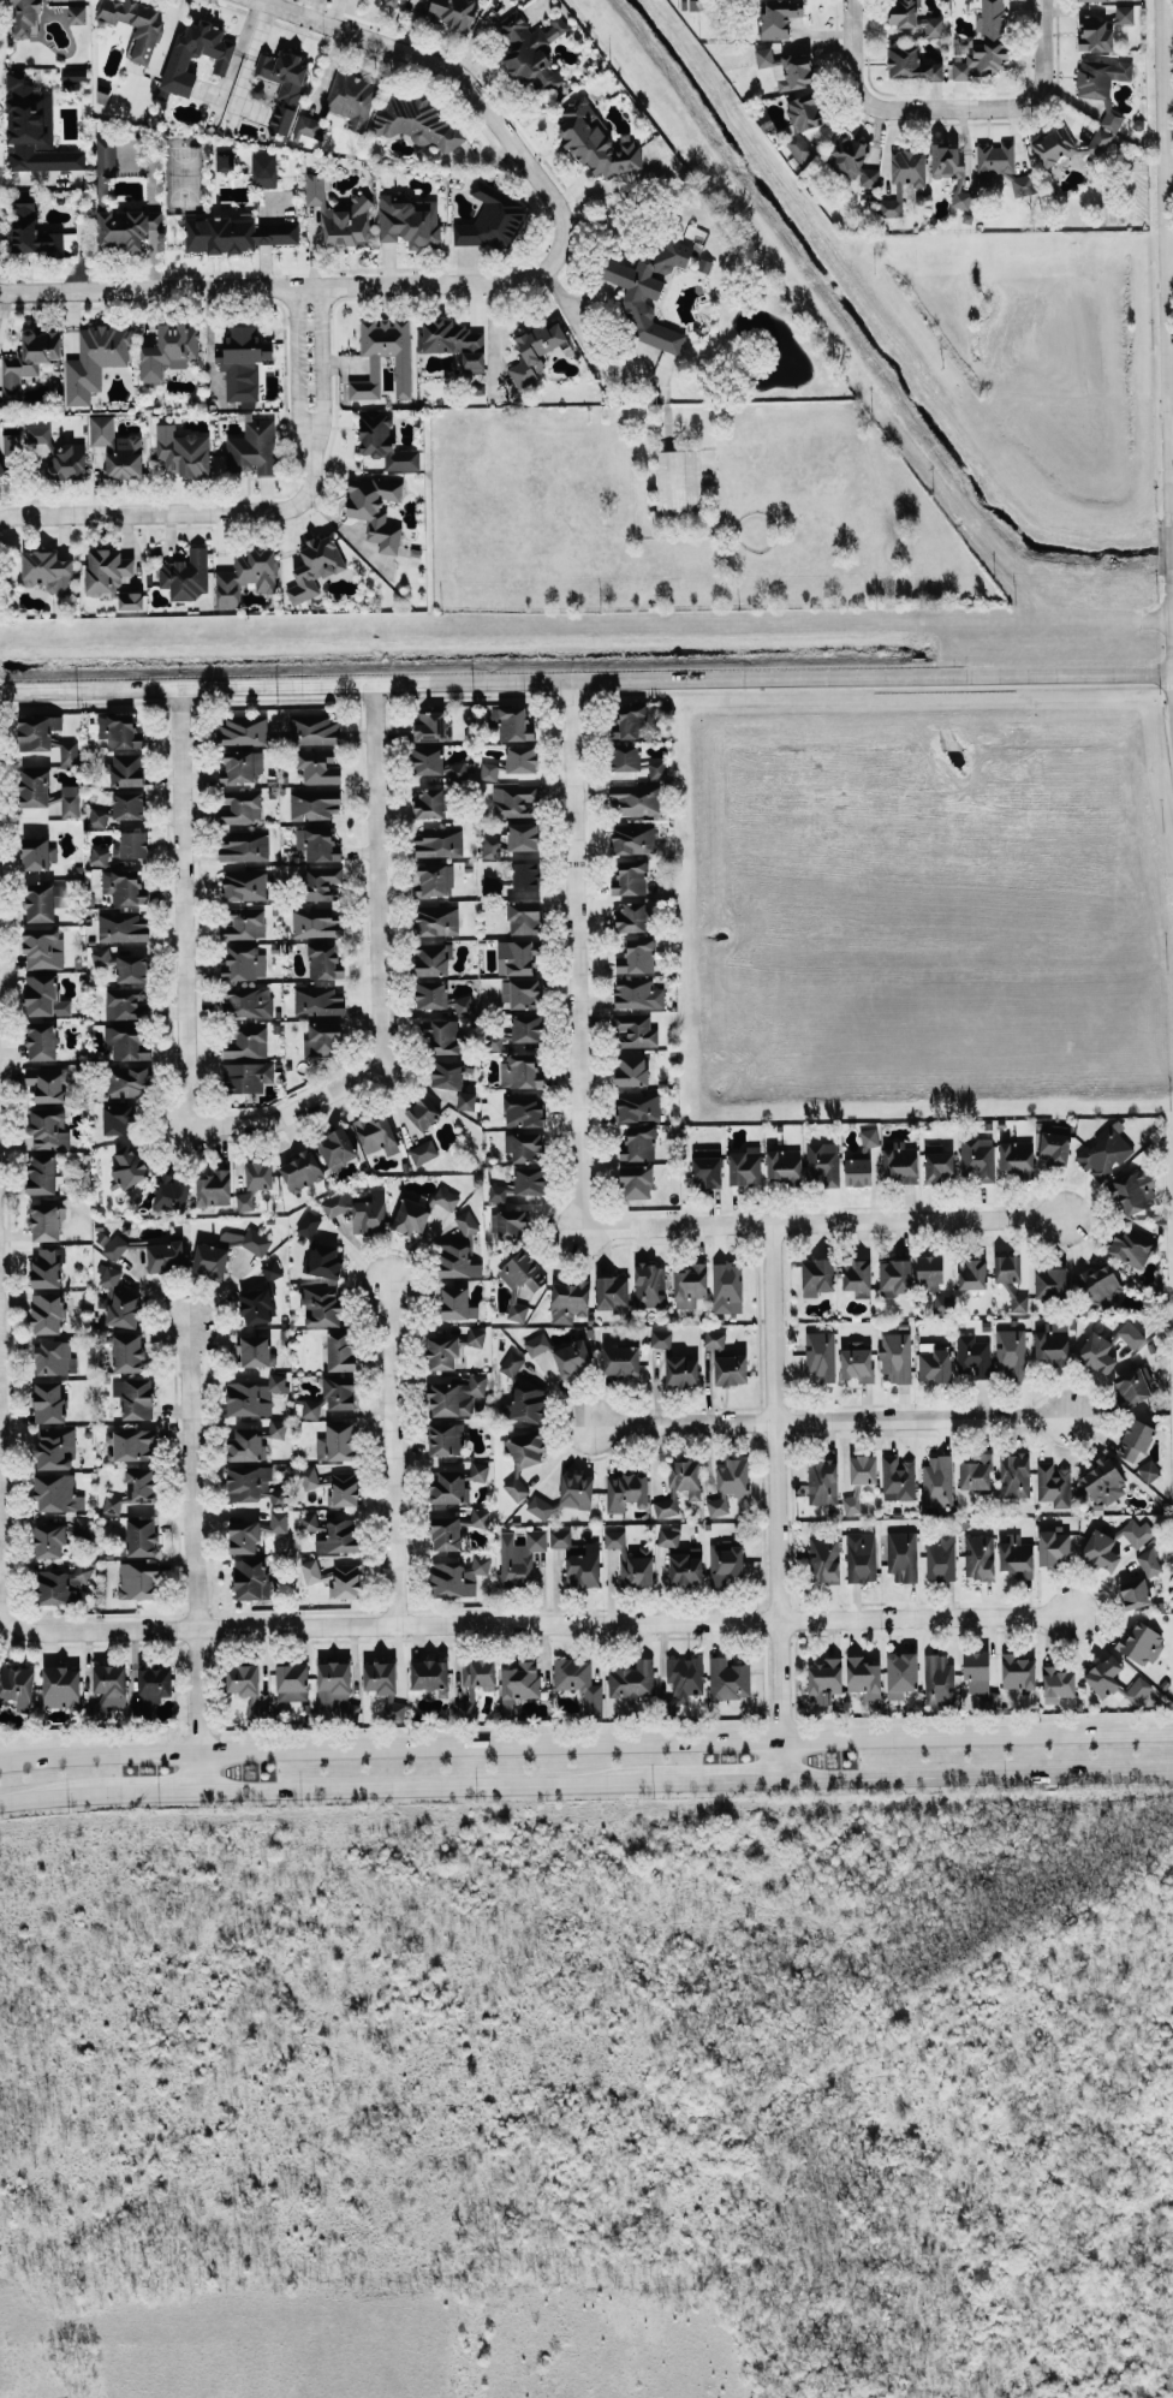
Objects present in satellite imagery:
building: (1092, 0)
building: (395, 1)
building: (419, 5)
building: (453, 12)
building: (1124, 13)
building: (76, 14)
building: (24, 17)
building: (779, 17)
building: (913, 17)
building: (133, 24)
building: (1094, 34)
building: (986, 44)
building: (530, 52)
building: (216, 56)
building: (910, 64)
road: (462, 69)
building: (786, 69)
building: (72, 78)
building: (1101, 83)
building: (284, 84)
road: (1037, 89)
road: (859, 95)
building: (351, 99)
building: (417, 121)
building: (803, 123)
building: (310, 126)
building: (35, 129)
building: (595, 142)
building: (1098, 142)
building: (1053, 145)
building: (105, 156)
building: (224, 160)
building: (851, 160)
building: (994, 160)
building: (951, 171)
building: (264, 177)
building: (901, 178)
road: (1171, 178)
building: (1023, 185)
building: (339, 213)
building: (490, 218)
building: (407, 221)
building: (126, 227)
building: (234, 233)
road: (1171, 246)
road: (1168, 254)
road: (285, 282)
building: (649, 292)
building: (453, 341)
building: (535, 350)
building: (168, 351)
building: (28, 359)
building: (94, 361)
road: (296, 361)
road: (323, 361)
building: (243, 363)
building: (401, 367)
building: (385, 442)
road: (1172, 446)
building: (117, 447)
building: (252, 448)
building: (180, 452)
building: (58, 456)
building: (1, 470)
building: (677, 481)
road: (181, 506)
building: (375, 510)
road: (1172, 540)
building: (314, 567)
building: (106, 570)
building: (47, 571)
building: (185, 573)
building: (245, 576)
building: (130, 600)
road: (1172, 621)
road: (585, 674)
building: (511, 721)
building: (633, 721)
building: (433, 726)
building: (118, 730)
building: (243, 730)
building: (314, 730)
building: (37, 731)
building: (69, 752)
building: (522, 760)
building: (635, 761)
building: (436, 764)
building: (240, 766)
building: (318, 767)
building: (127, 768)
building: (488, 770)
building: (34, 787)
building: (636, 798)
building: (514, 799)
building: (70, 801)
building: (429, 802)
building: (129, 804)
building: (315, 804)
building: (240, 807)
building: (99, 816)
building: (523, 837)
building: (632, 838)
building: (316, 843)
building: (439, 843)
building: (131, 845)
building: (244, 846)
building: (492, 847)
building: (35, 853)
building: (99, 856)
building: (630, 877)
building: (434, 880)
building: (322, 881)
building: (244, 883)
building: (123, 886)
building: (38, 902)
road: (187, 902)
building: (632, 916)
building: (523, 917)
road: (585, 917)
building: (436, 918)
building: (244, 922)
building: (315, 922)
building: (121, 926)
building: (42, 946)
building: (517, 956)
building: (102, 957)
building: (636, 957)
building: (431, 958)
building: (323, 962)
building: (244, 963)
building: (132, 968)
road: (388, 972)
building: (520, 992)
building: (637, 993)
building: (431, 994)
building: (43, 996)
building: (318, 1000)
building: (248, 1001)
building: (125, 1002)
building: (462, 1004)
building: (526, 1027)
building: (635, 1029)
building: (442, 1036)
building: (322, 1039)
building: (496, 1039)
building: (41, 1040)
building: (246, 1041)
building: (125, 1042)
building: (631, 1069)
building: (519, 1071)
building: (447, 1075)
building: (246, 1076)
building: (129, 1081)
building: (47, 1083)
building: (466, 1100)
building: (638, 1106)
building: (523, 1109)
building: (423, 1112)
building: (117, 1118)
building: (48, 1127)
building: (376, 1135)
building: (869, 1137)
building: (638, 1143)
building: (524, 1146)
building: (337, 1147)
building: (1054, 1148)
building: (1104, 1150)
building: (423, 1152)
building: (977, 1158)
building: (1016, 1158)
building: (822, 1161)
building: (899, 1161)
building: (782, 1165)
building: (939, 1165)
building: (707, 1166)
building: (745, 1166)
building: (127, 1168)
building: (300, 1170)
building: (857, 1171)
building: (42, 1173)
building: (258, 1174)
building: (530, 1179)
building: (636, 1182)
building: (214, 1188)
building: (1135, 1190)
building: (496, 1192)
building: (171, 1194)
building: (446, 1197)
building: (244, 1201)
building: (359, 1209)
building: (411, 1216)
building: (44, 1221)
building: (508, 1224)
road: (792, 1231)
building: (246, 1240)
building: (1131, 1245)
building: (318, 1250)
building: (460, 1250)
building: (165, 1256)
building: (209, 1260)
building: (47, 1267)
building: (1007, 1268)
building: (270, 1269)
building: (929, 1272)
building: (971, 1273)
building: (816, 1275)
building: (108, 1277)
building: (857, 1277)
building: (894, 1277)
building: (522, 1280)
building: (1050, 1283)
building: (649, 1285)
building: (690, 1285)
building: (1100, 1285)
building: (726, 1287)
building: (611, 1292)
building: (570, 1301)
building: (457, 1303)
building: (1018, 1303)
building: (255, 1305)
building: (321, 1305)
building: (943, 1307)
building: (124, 1309)
building: (47, 1313)
building: (1130, 1334)
building: (476, 1337)
building: (660, 1338)
building: (714, 1338)
building: (1053, 1343)
building: (536, 1344)
building: (256, 1350)
building: (340, 1350)
building: (127, 1352)
building: (442, 1352)
building: (1096, 1352)
building: (1010, 1353)
building: (820, 1356)
building: (895, 1356)
building: (972, 1356)
building: (53, 1357)
building: (572, 1357)
building: (620, 1359)
building: (857, 1361)
building: (934, 1363)
building: (730, 1369)
building: (681, 1370)
building: (252, 1393)
building: (523, 1393)
building: (455, 1396)
building: (135, 1397)
building: (331, 1397)
building: (48, 1402)
road: (835, 1424)
building: (276, 1428)
building: (446, 1439)
building: (1135, 1439)
building: (337, 1441)
building: (130, 1444)
building: (245, 1445)
building: (55, 1447)
road: (398, 1452)
building: (523, 1457)
building: (478, 1470)
building: (1148, 1470)
building: (976, 1472)
building: (1014, 1476)
building: (897, 1477)
building: (857, 1480)
building: (937, 1481)
building: (822, 1482)
building: (1103, 1482)
building: (1053, 1483)
building: (141, 1484)
building: (252, 1484)
building: (728, 1484)
road: (2, 1486)
building: (679, 1486)
building: (448, 1488)
building: (343, 1489)
building: (626, 1489)
building: (576, 1490)
building: (56, 1493)
building: (113, 1504)
road: (779, 1505)
building: (541, 1506)
building: (476, 1517)
building: (278, 1521)
building: (308, 1522)
building: (82, 1525)
building: (1138, 1531)
building: (446, 1533)
building: (244, 1535)
building: (141, 1536)
building: (339, 1536)
building: (668, 1536)
building: (49, 1540)
building: (1053, 1546)
building: (1102, 1551)
building: (901, 1555)
building: (1017, 1555)
road: (200, 1557)
building: (519, 1557)
building: (861, 1557)
building: (940, 1557)
building: (978, 1557)
building: (578, 1559)
building: (823, 1559)
building: (631, 1560)
building: (725, 1560)
building: (1149, 1560)
building: (685, 1569)
building: (310, 1570)
building: (459, 1576)
building: (251, 1578)
building: (137, 1579)
building: (343, 1581)
building: (61, 1584)
building: (1135, 1593)
road: (547, 1623)
building: (1141, 1643)
building: (976, 1671)
building: (1017, 1671)
building: (901, 1673)
building: (429, 1674)
building: (1106, 1674)
building: (379, 1677)
building: (685, 1677)
building: (863, 1677)
building: (242, 1678)
building: (728, 1679)
building: (824, 1679)
building: (937, 1679)
building: (631, 1680)
building: (292, 1682)
building: (579, 1682)
building: (155, 1683)
building: (1058, 1683)
building: (475, 1684)
building: (518, 1684)
building: (17, 1685)
building: (61, 1686)
building: (106, 1686)
building: (1137, 1689)
building: (335, 1690)
building: (257, 1712)
road: (585, 1743)
road: (585, 1780)

